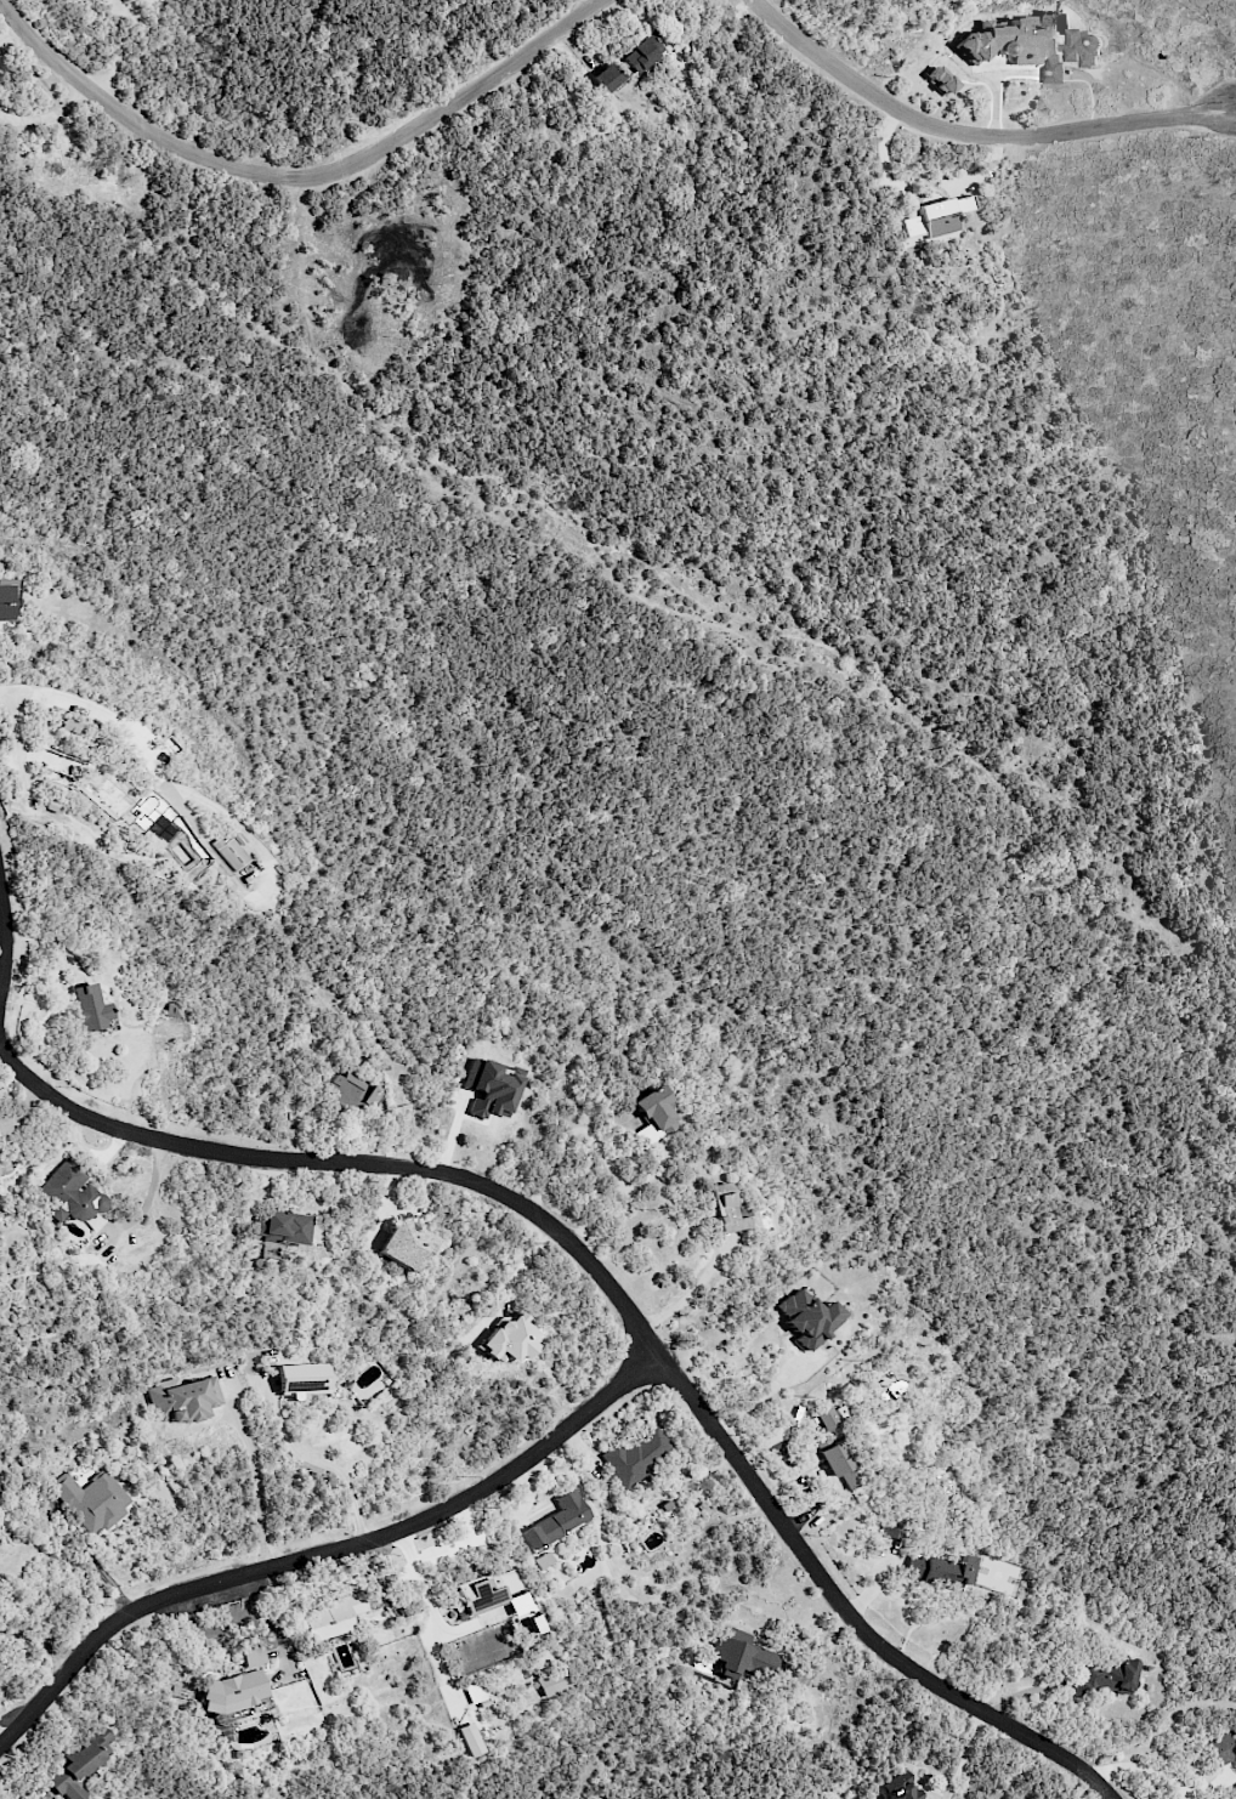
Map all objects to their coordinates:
building: (1033, 44)
building: (640, 52)
building: (605, 78)
building: (940, 80)
road: (1234, 112)
road: (973, 135)
road: (299, 177)
building: (935, 221)
building: (5, 603)
building: (70, 722)
road: (152, 761)
building: (161, 819)
building: (231, 852)
road: (2, 940)
building: (90, 1008)
building: (172, 1011)
building: (488, 1089)
building: (345, 1090)
building: (654, 1116)
building: (5, 1128)
road: (569, 1130)
building: (72, 1193)
road: (149, 1196)
road: (619, 1204)
building: (725, 1209)
building: (282, 1227)
building: (404, 1244)
road: (693, 1288)
road: (623, 1305)
building: (806, 1317)
building: (508, 1339)
building: (301, 1378)
road: (769, 1394)
building: (182, 1400)
building: (828, 1419)
building: (636, 1455)
road: (321, 1463)
building: (840, 1464)
road: (254, 1491)
building: (0, 1492)
building: (92, 1499)
building: (555, 1520)
building: (892, 1526)
road: (459, 1543)
road: (325, 1551)
building: (542, 1560)
road: (96, 1566)
building: (942, 1571)
road: (421, 1580)
building: (489, 1591)
building: (333, 1617)
road: (225, 1628)
road: (39, 1640)
building: (254, 1656)
building: (741, 1657)
building: (1102, 1678)
building: (552, 1682)
building: (234, 1691)
building: (475, 1692)
road: (5, 1733)
building: (470, 1740)
building: (1221, 1748)
building: (79, 1764)
road: (1145, 1766)
building: (901, 1791)
building: (1234, 1791)

